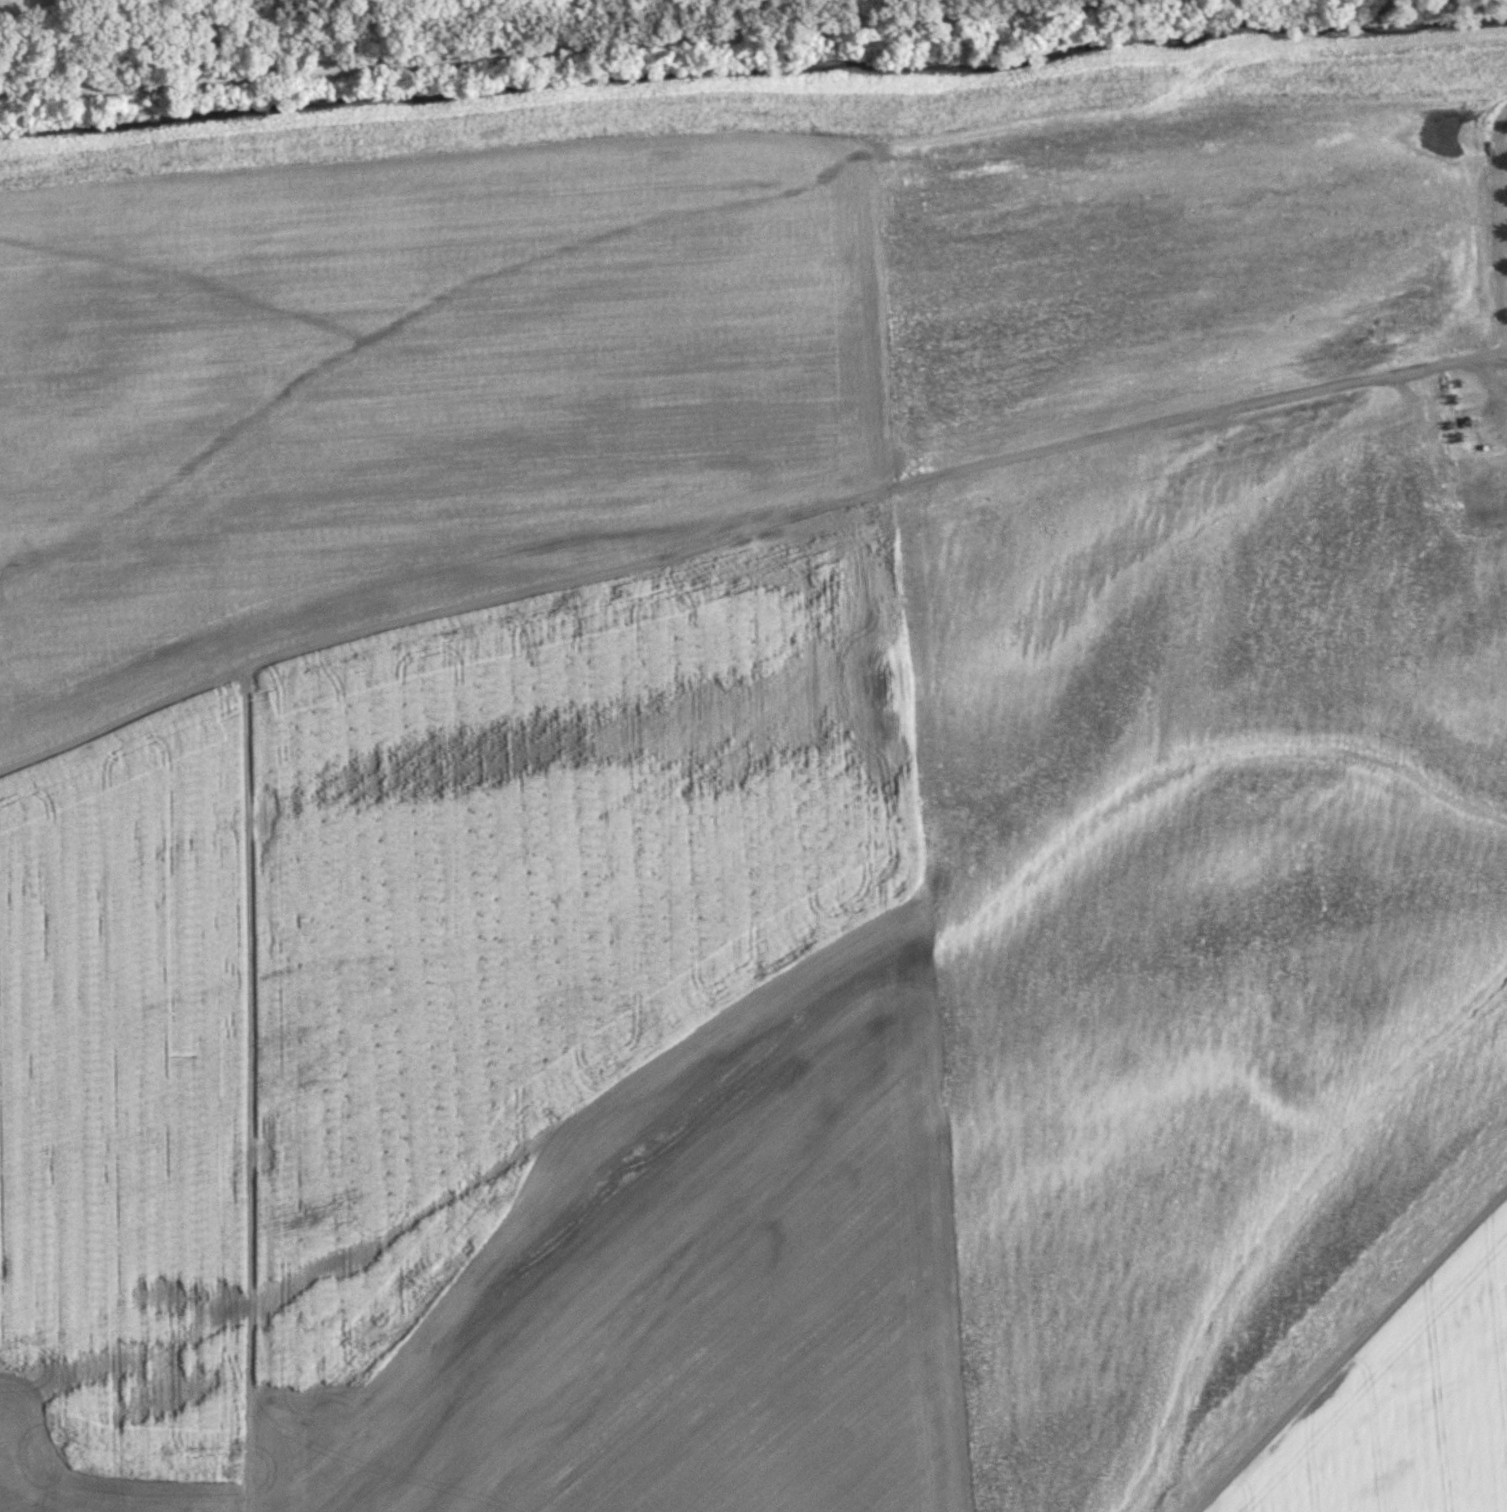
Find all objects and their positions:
road: (566, 45)
road: (1495, 223)

